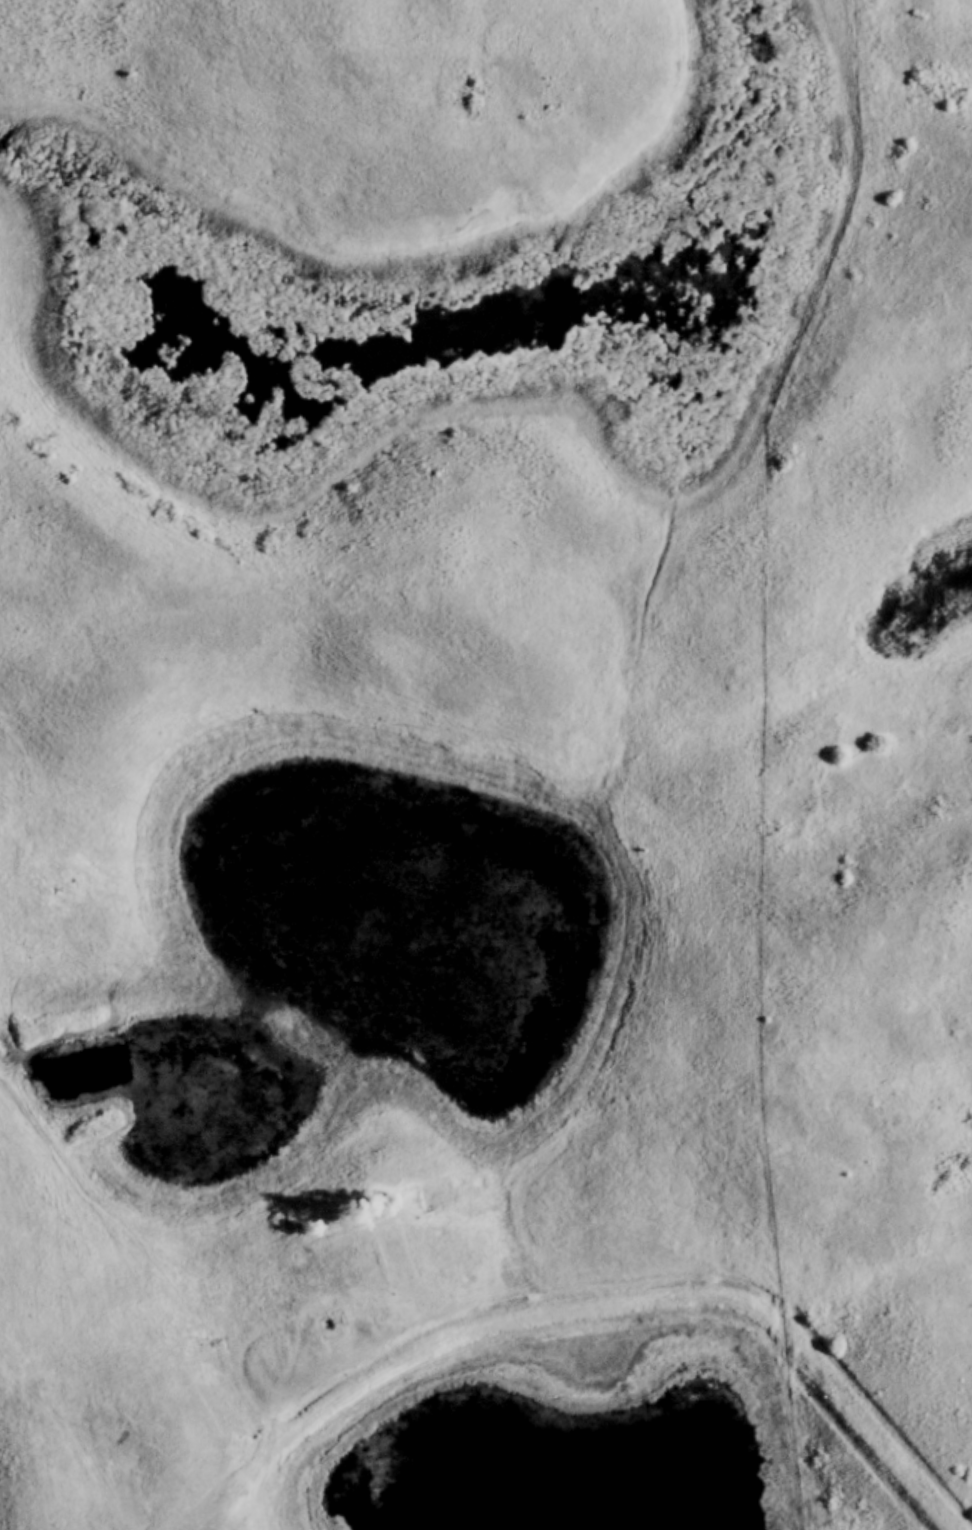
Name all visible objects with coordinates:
road: (75, 1437)

